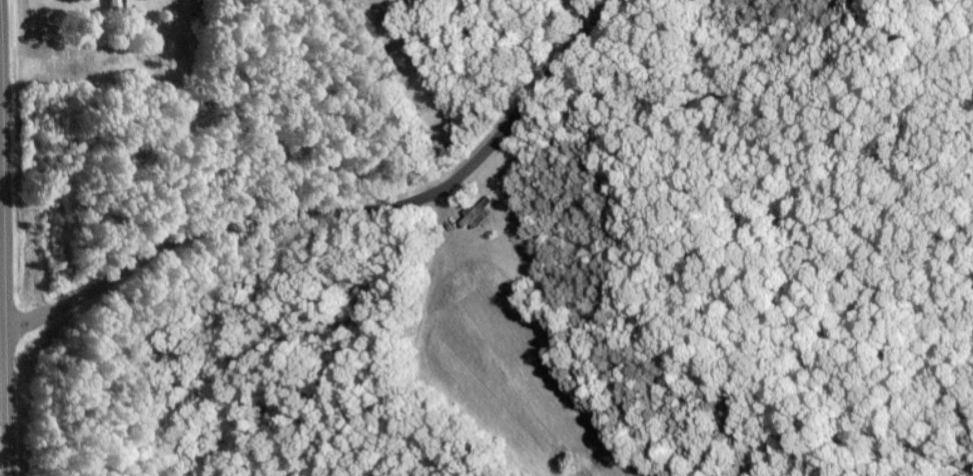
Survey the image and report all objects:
building: (115, 3)
road: (343, 215)
road: (5, 237)

